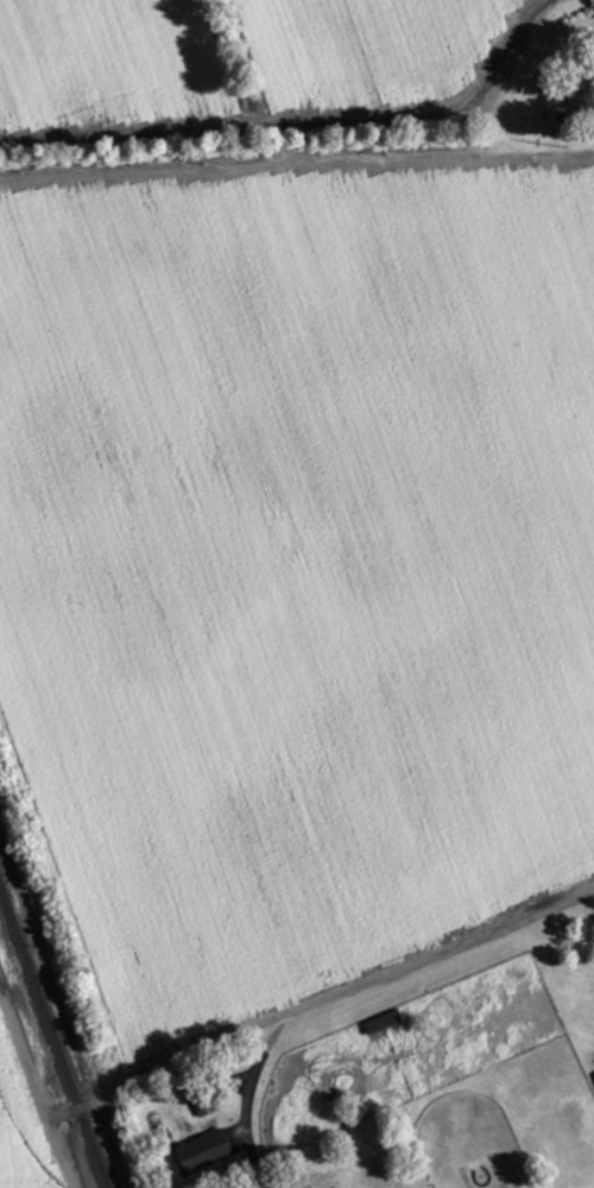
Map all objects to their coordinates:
road: (268, 1020)
railway: (56, 1030)
building: (207, 1150)

